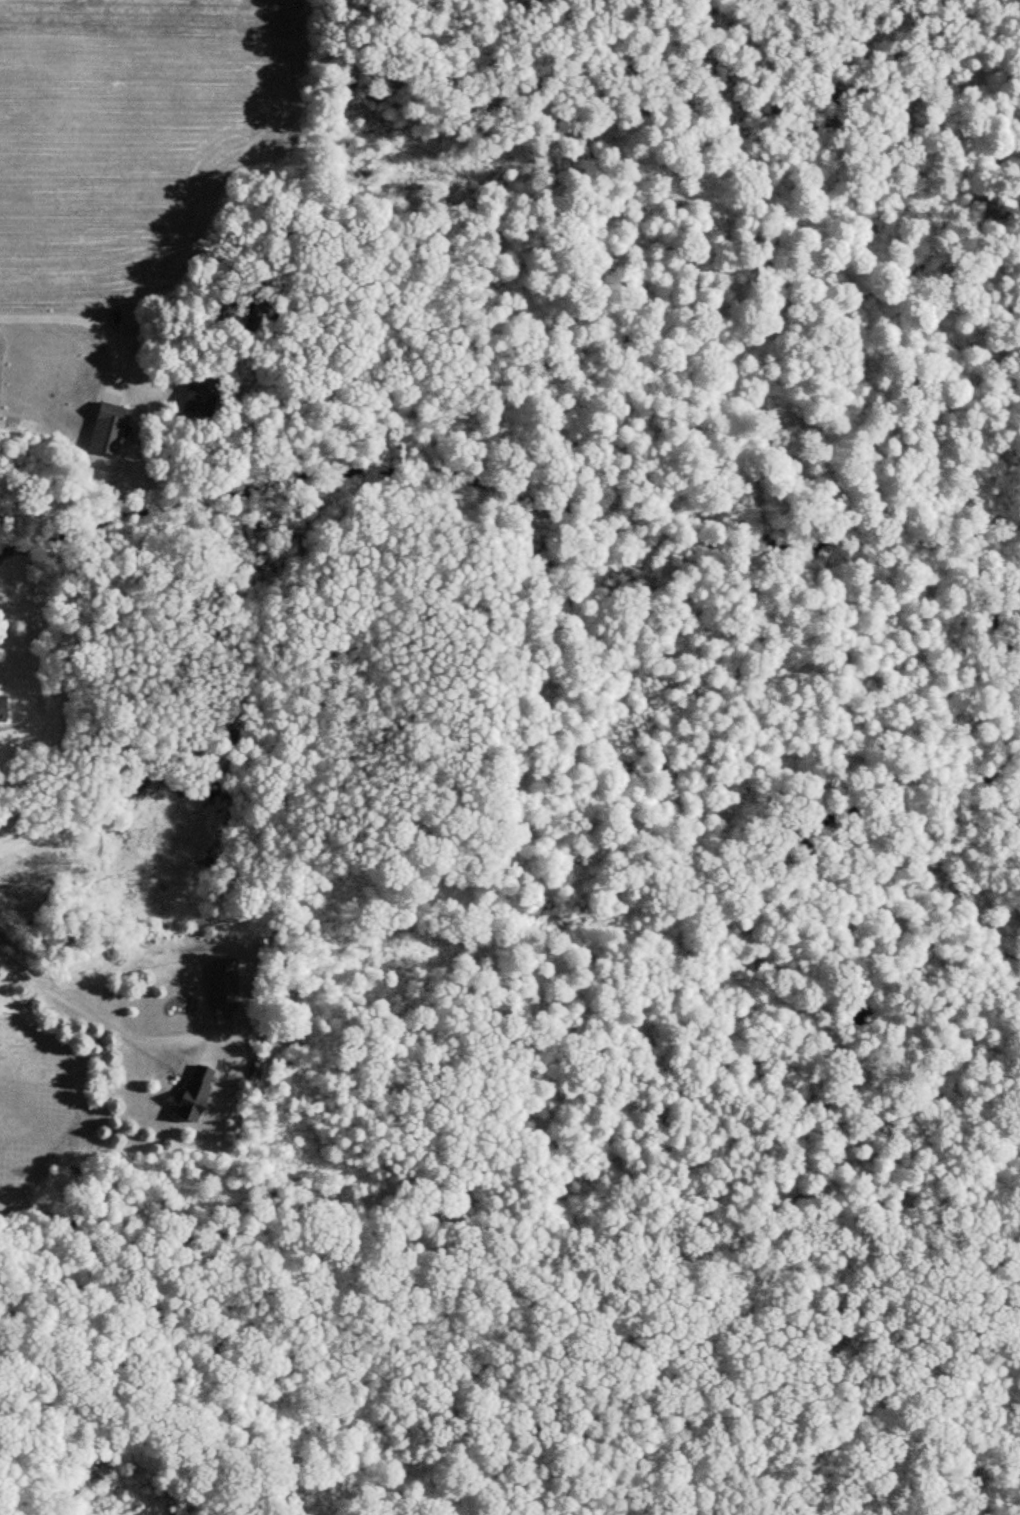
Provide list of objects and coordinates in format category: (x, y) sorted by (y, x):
road: (77, 317)
building: (110, 428)
building: (4, 709)
building: (225, 982)
road: (74, 1000)
building: (0, 1012)
building: (197, 1092)

